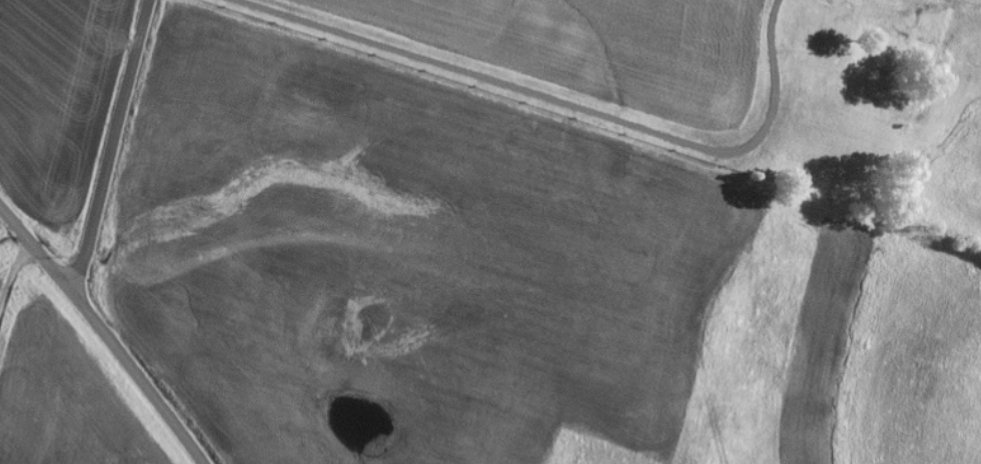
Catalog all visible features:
road: (112, 145)
road: (7, 273)
road: (104, 333)

